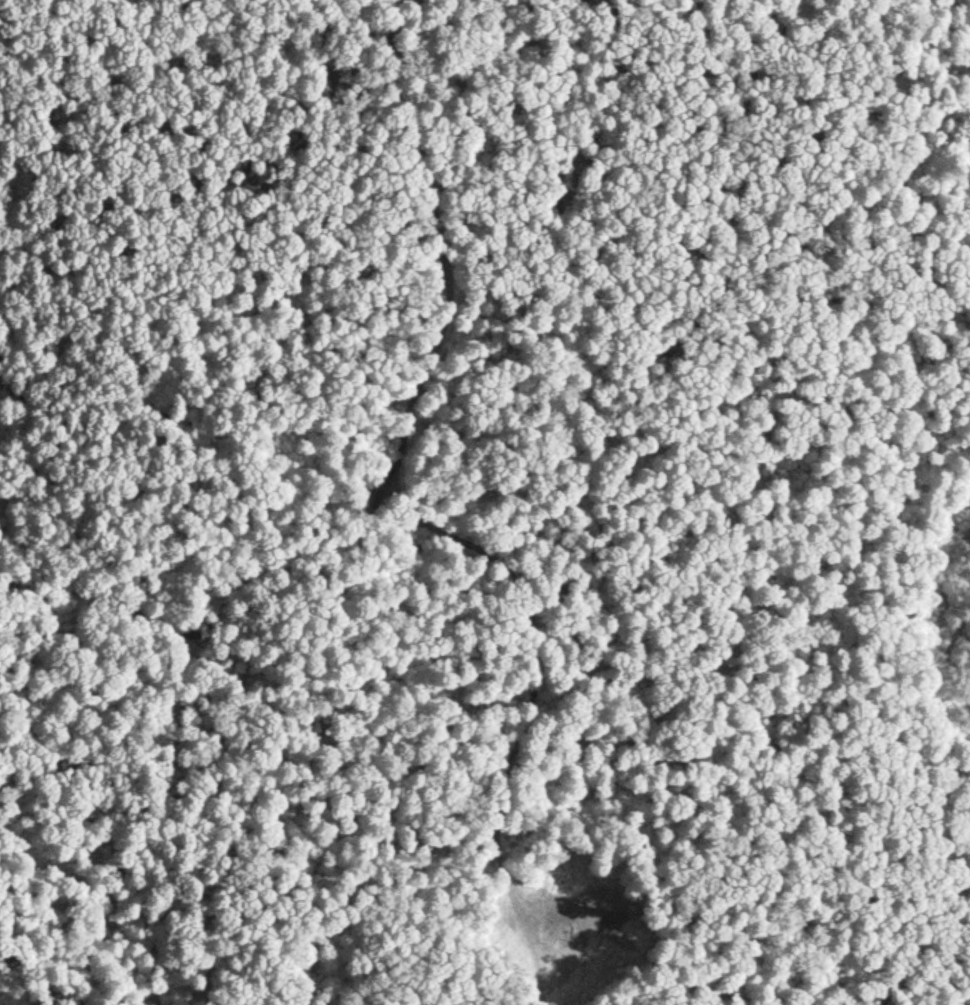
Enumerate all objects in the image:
road: (440, 238)
road: (213, 620)

